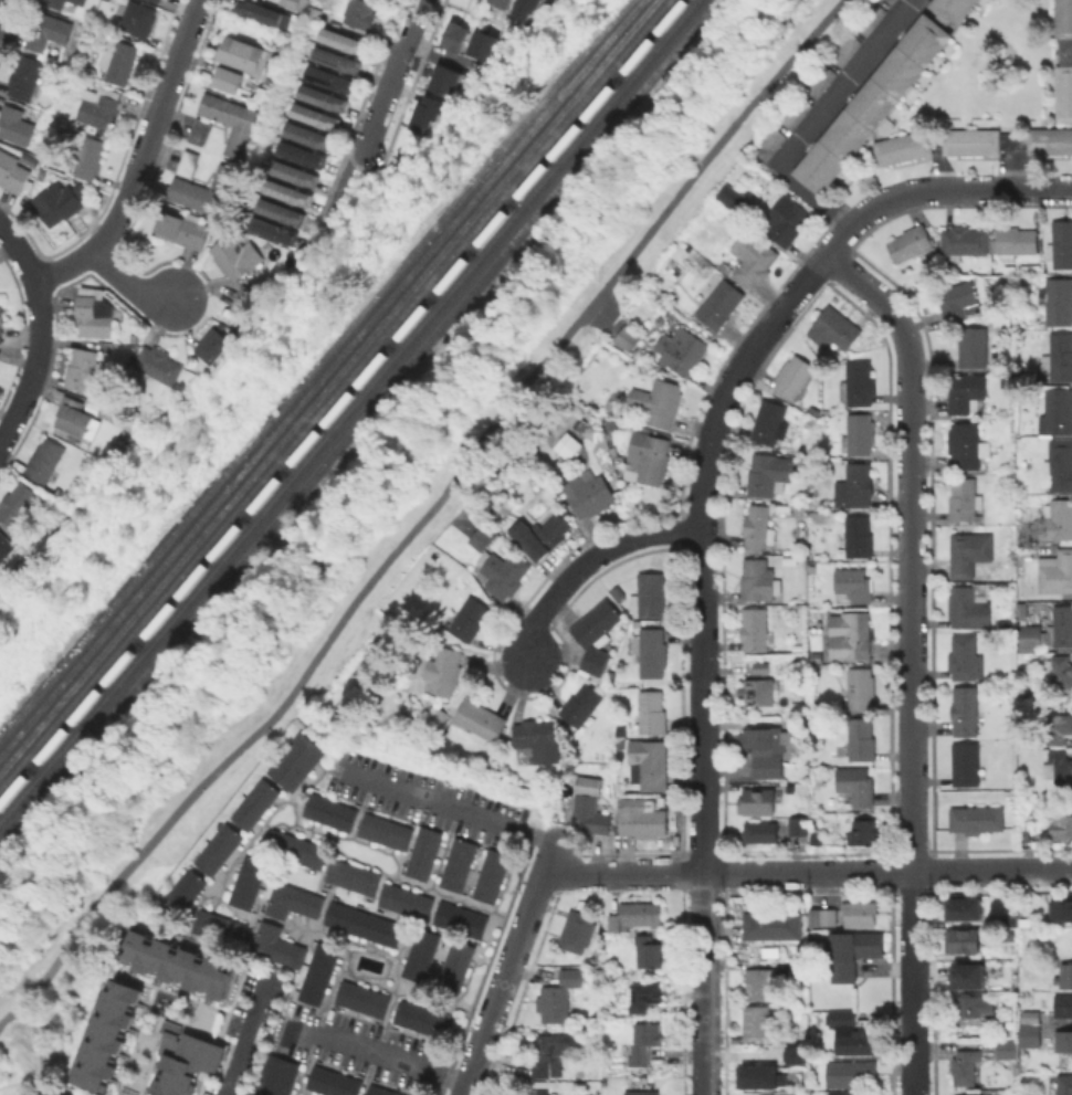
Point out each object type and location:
road: (0, 1)
building: (78, 1)
building: (156, 1)
building: (508, 1)
building: (889, 1)
building: (54, 3)
building: (294, 4)
building: (533, 7)
building: (950, 8)
building: (264, 11)
building: (314, 12)
building: (361, 13)
building: (137, 18)
building: (1062, 18)
road: (417, 20)
building: (48, 31)
building: (460, 35)
building: (343, 39)
building: (490, 44)
building: (1064, 50)
building: (244, 54)
building: (335, 57)
building: (118, 61)
building: (24, 76)
building: (329, 76)
building: (227, 78)
building: (443, 80)
building: (1062, 92)
building: (265, 94)
building: (322, 96)
building: (871, 103)
building: (98, 106)
road: (380, 110)
building: (429, 113)
building: (314, 115)
road: (818, 118)
building: (229, 120)
building: (15, 125)
building: (197, 130)
building: (308, 135)
building: (934, 139)
building: (969, 140)
building: (1011, 140)
building: (1049, 140)
building: (768, 144)
building: (901, 146)
building: (301, 154)
building: (87, 157)
road: (140, 159)
building: (186, 162)
building: (295, 171)
building: (14, 172)
building: (204, 190)
building: (288, 191)
road: (960, 191)
building: (736, 199)
building: (56, 203)
road: (337, 207)
building: (281, 211)
building: (785, 220)
building: (183, 229)
building: (274, 230)
road: (840, 236)
building: (1015, 241)
building: (911, 243)
building: (1061, 243)
building: (963, 244)
building: (237, 254)
building: (750, 259)
road: (128, 280)
building: (241, 298)
building: (959, 299)
building: (1057, 301)
building: (718, 302)
building: (94, 312)
building: (1, 317)
building: (834, 328)
road: (39, 333)
building: (628, 336)
building: (217, 346)
building: (975, 347)
building: (0, 350)
building: (682, 351)
building: (1059, 356)
building: (159, 364)
railway: (313, 364)
building: (640, 367)
building: (84, 370)
railway: (318, 375)
building: (794, 376)
building: (1006, 379)
building: (858, 382)
railway: (326, 383)
railway: (333, 391)
building: (967, 392)
railway: (340, 400)
building: (658, 401)
railway: (348, 409)
building: (1057, 411)
building: (73, 415)
railway: (355, 417)
building: (128, 421)
building: (769, 421)
building: (811, 423)
building: (858, 434)
building: (967, 444)
building: (568, 445)
building: (650, 455)
building: (44, 460)
building: (1059, 465)
building: (768, 473)
building: (856, 484)
building: (588, 491)
building: (964, 498)
building: (18, 505)
road: (435, 505)
building: (1057, 519)
building: (759, 525)
building: (542, 535)
building: (482, 537)
building: (856, 537)
building: (6, 546)
building: (1022, 549)
building: (969, 551)
building: (790, 559)
road: (587, 561)
park: (388, 562)
building: (1057, 570)
building: (503, 571)
building: (759, 580)
building: (853, 585)
building: (650, 593)
building: (969, 607)
building: (467, 618)
building: (755, 628)
building: (1061, 628)
building: (597, 633)
building: (1031, 635)
building: (852, 636)
building: (651, 651)
road: (702, 656)
road: (911, 657)
building: (965, 657)
building: (761, 667)
building: (443, 670)
building: (1060, 671)
building: (859, 688)
building: (758, 691)
building: (581, 704)
building: (965, 709)
building: (652, 710)
building: (481, 718)
building: (1058, 727)
building: (538, 738)
building: (862, 738)
building: (1012, 746)
building: (765, 747)
building: (293, 759)
building: (649, 762)
building: (967, 764)
building: (1058, 766)
building: (856, 783)
building: (588, 785)
building: (757, 801)
building: (252, 802)
road: (449, 807)
building: (327, 810)
building: (590, 813)
building: (641, 818)
building: (977, 818)
building: (799, 824)
building: (1061, 825)
building: (382, 829)
building: (761, 830)
building: (864, 831)
building: (817, 836)
street lamp: (136, 841)
building: (293, 846)
building: (217, 847)
building: (421, 851)
road: (548, 854)
building: (455, 862)
road: (886, 871)
road: (622, 873)
building: (488, 874)
building: (350, 875)
building: (245, 881)
building: (183, 887)
building: (293, 899)
building: (403, 899)
building: (967, 909)
building: (1061, 909)
building: (637, 914)
building: (845, 914)
building: (458, 917)
building: (1010, 922)
building: (364, 923)
building: (773, 925)
building: (217, 927)
building: (579, 930)
building: (963, 939)
building: (278, 945)
building: (648, 950)
building: (853, 951)
building: (421, 954)
building: (1049, 959)
building: (180, 961)
building: (456, 965)
building: (800, 967)
building: (319, 972)
building: (1063, 973)
building: (970, 978)
road: (502, 981)
building: (763, 982)
building: (644, 994)
building: (559, 996)
building: (1015, 996)
building: (364, 998)
building: (1063, 1003)
building: (968, 1005)
road: (11, 1015)
building: (422, 1017)
building: (1033, 1017)
building: (757, 1019)
building: (108, 1031)
building: (851, 1033)
building: (1030, 1034)
road: (245, 1035)
building: (1064, 1040)
building: (549, 1042)
building: (641, 1042)
building: (1007, 1047)
road: (36, 1051)
building: (796, 1055)
building: (186, 1056)
road: (397, 1056)
building: (965, 1065)
building: (550, 1066)
building: (844, 1073)
building: (759, 1074)
building: (277, 1075)
building: (334, 1081)
building: (1061, 1084)
building: (381, 1091)
building: (539, 1092)
building: (639, 1093)
building: (656, 1094)
building: (767, 1094)
building: (777, 1094)
building: (847, 1094)

